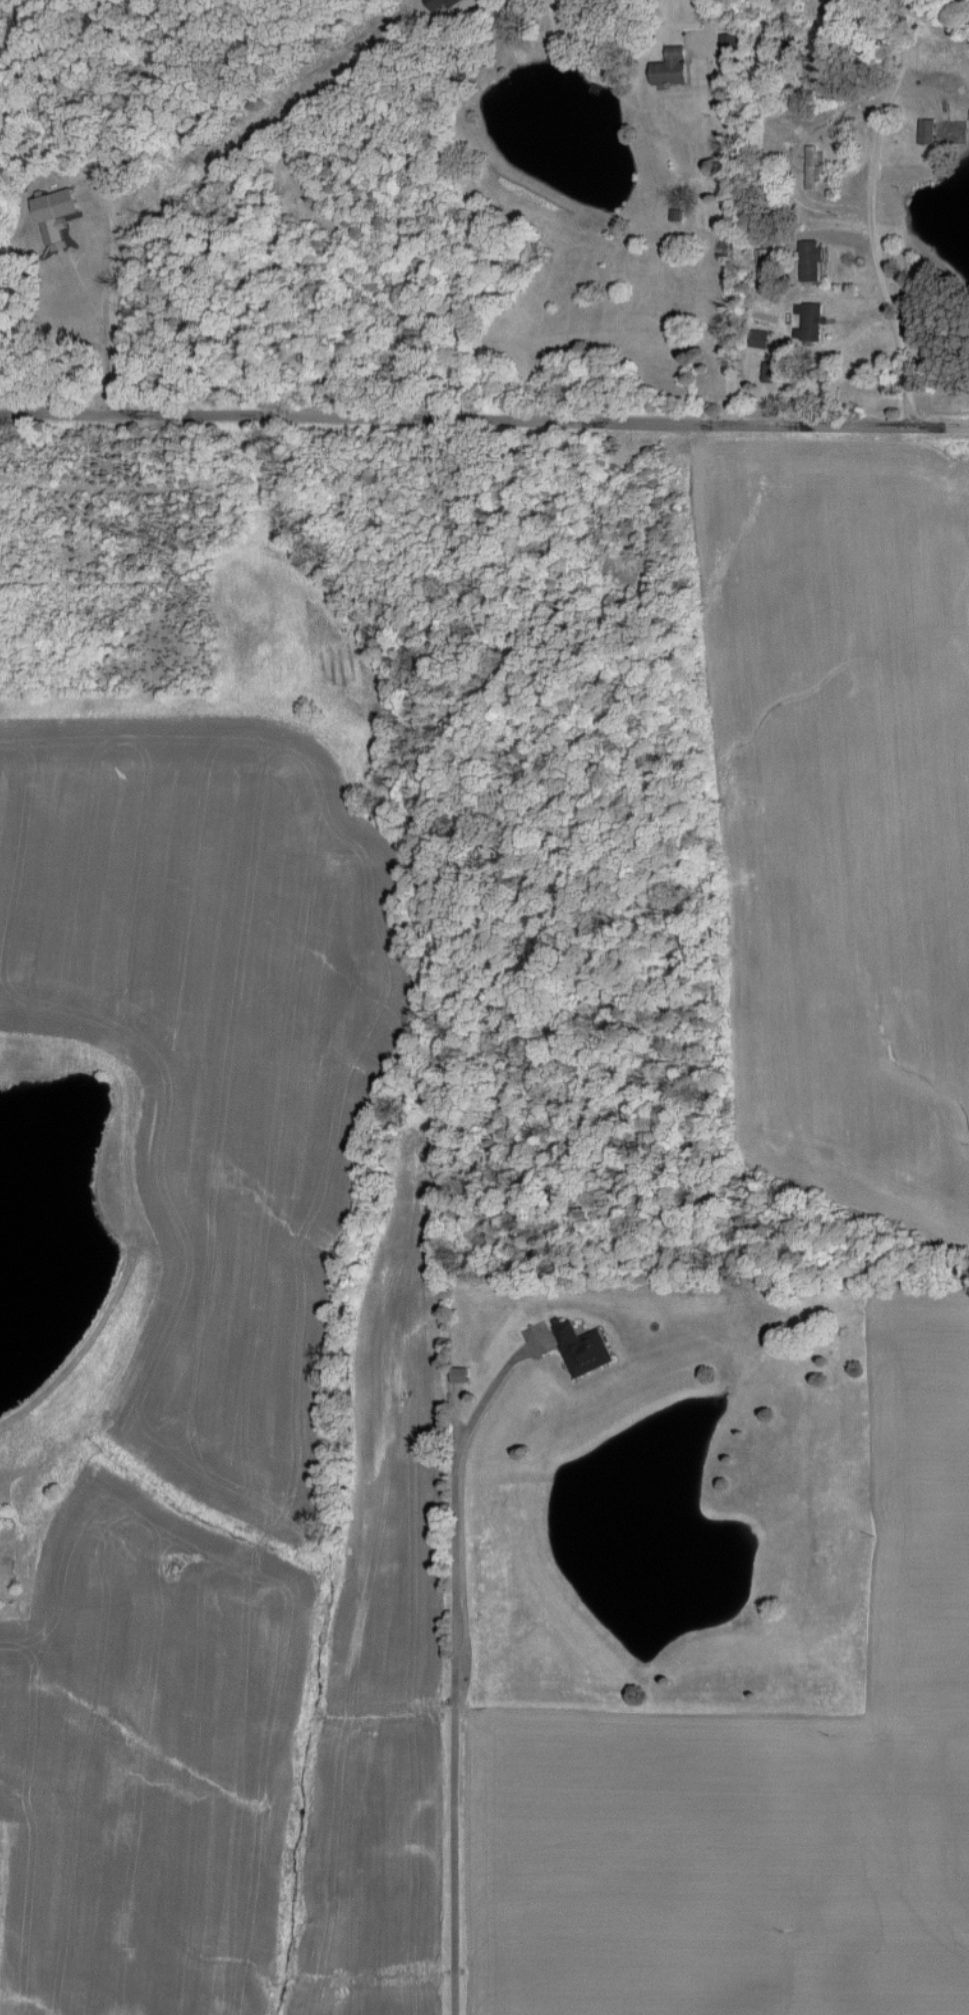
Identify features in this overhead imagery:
building: (441, 6)
building: (790, 61)
building: (672, 67)
building: (926, 131)
road: (173, 159)
building: (812, 166)
building: (54, 206)
road: (724, 210)
road: (873, 213)
building: (811, 261)
building: (809, 321)
road: (484, 419)
building: (582, 1349)
building: (459, 1375)
road: (456, 1662)

